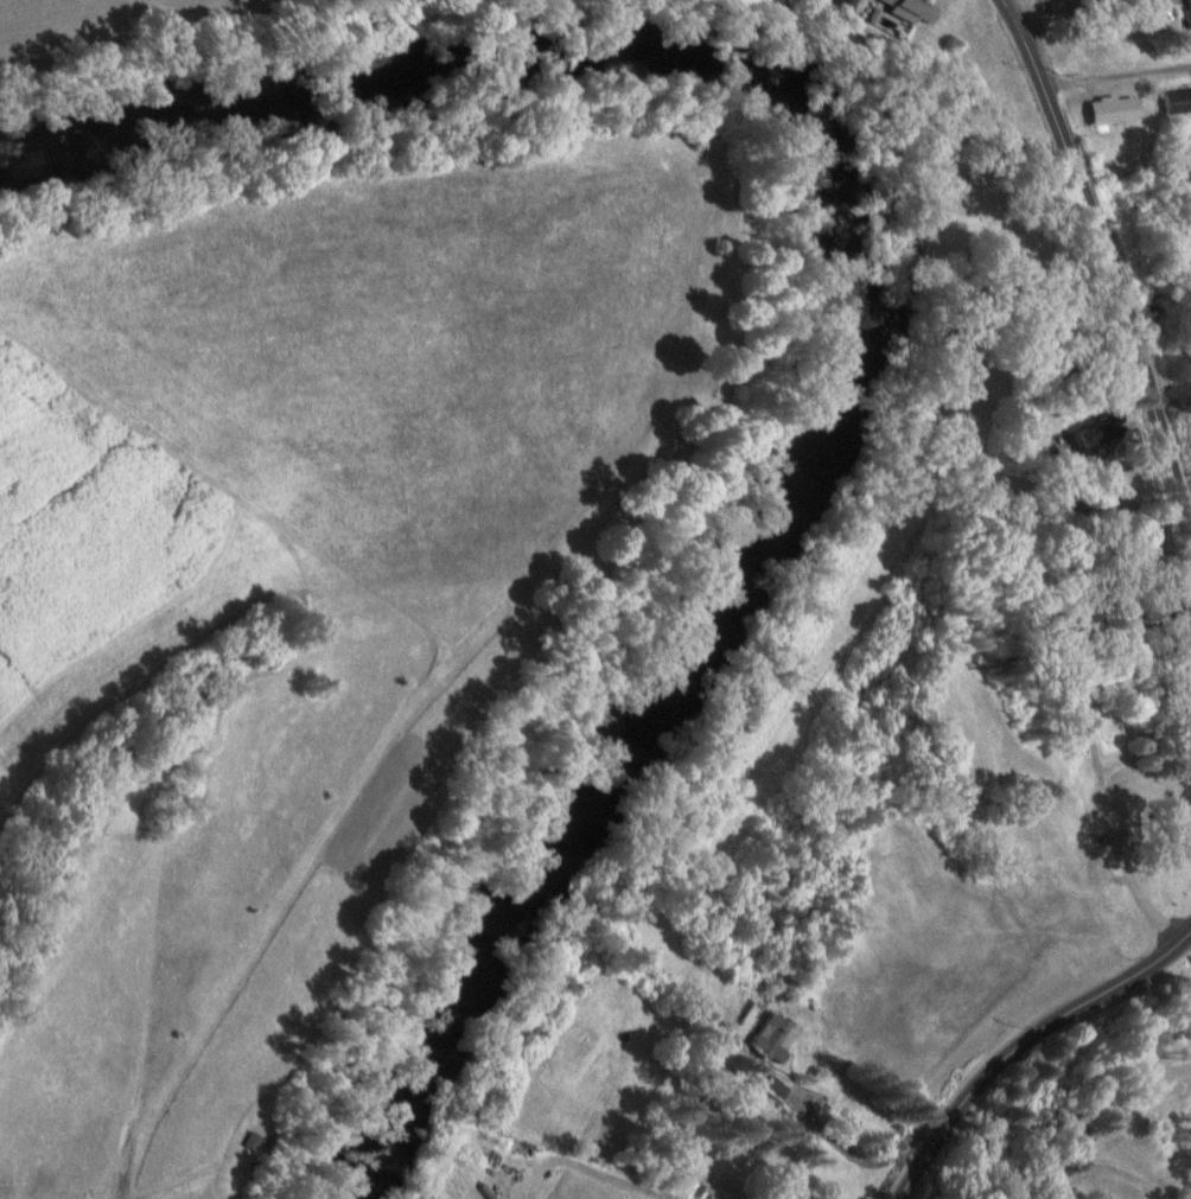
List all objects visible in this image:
road: (1050, 5)
building: (845, 6)
building: (1189, 6)
building: (912, 9)
road: (1046, 12)
road: (1115, 75)
building: (1178, 100)
building: (1115, 109)
road: (1104, 269)
river: (853, 299)
building: (1097, 435)
building: (1183, 827)
building: (773, 1039)
road: (1023, 1040)
building: (1084, 1135)
building: (254, 1140)
road: (1109, 1174)
building: (738, 1198)

